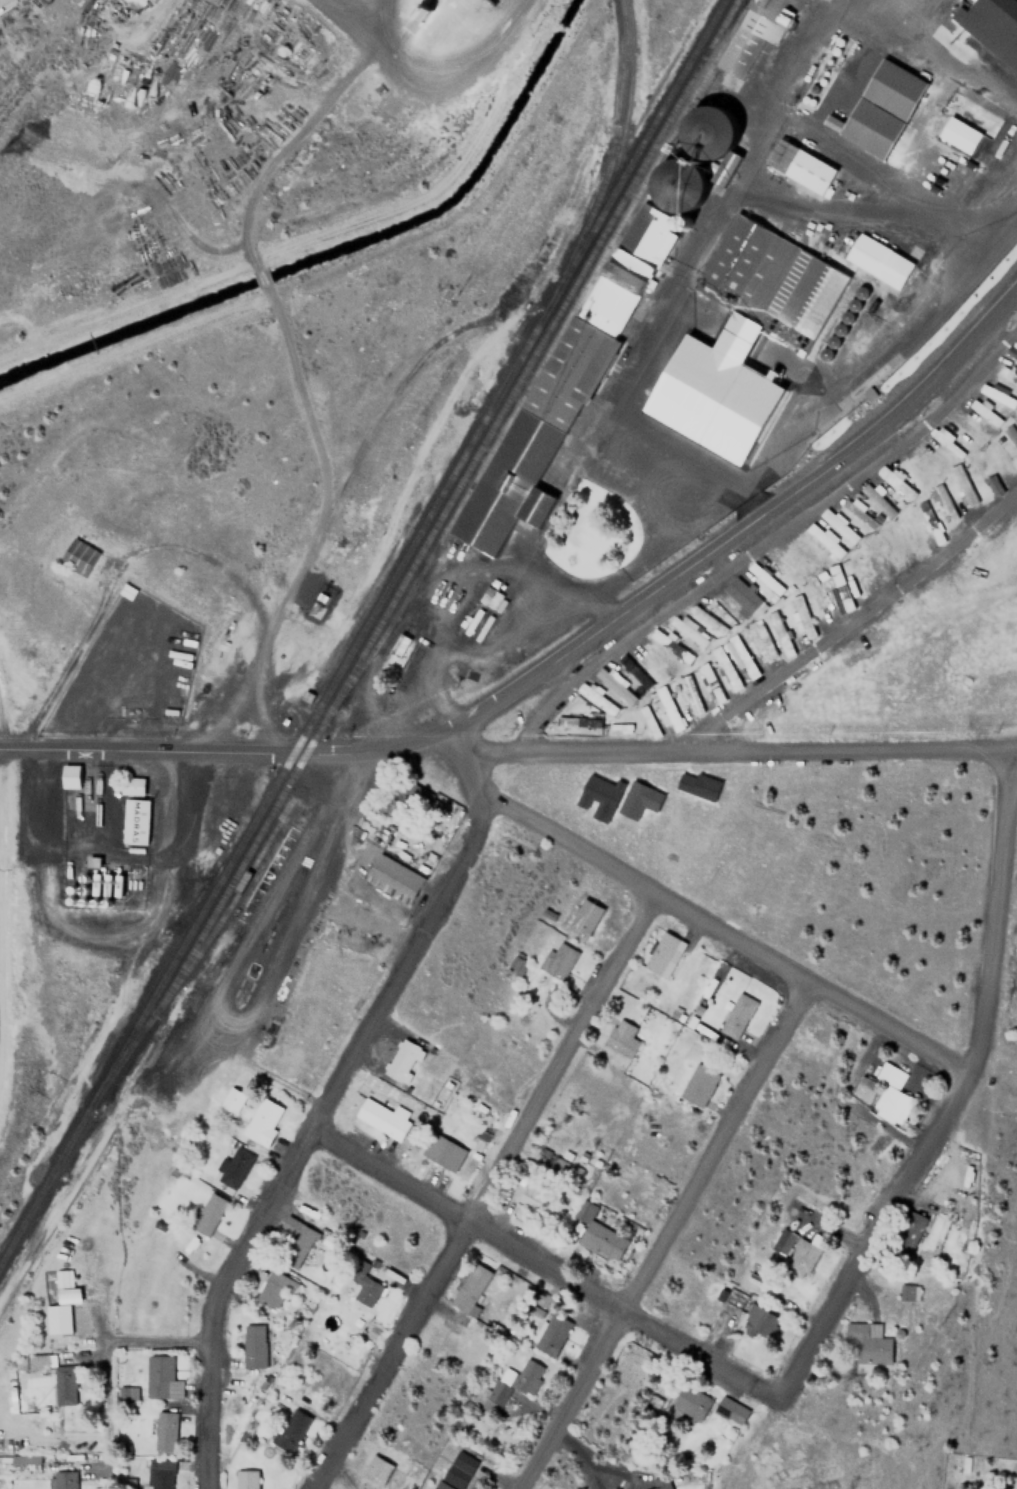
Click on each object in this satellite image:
road: (986, 23)
building: (992, 26)
building: (755, 33)
building: (880, 108)
road: (778, 115)
building: (959, 134)
railway: (607, 157)
building: (800, 165)
road: (867, 216)
railway: (599, 236)
building: (878, 261)
building: (757, 318)
building: (1013, 349)
railway: (540, 358)
building: (579, 358)
building: (1016, 361)
building: (1008, 374)
building: (870, 393)
building: (997, 394)
building: (984, 412)
building: (964, 426)
building: (946, 441)
building: (928, 455)
building: (997, 455)
road: (579, 458)
building: (915, 471)
building: (986, 472)
building: (909, 492)
building: (879, 500)
building: (944, 502)
building: (861, 512)
building: (842, 526)
road: (739, 527)
building: (826, 542)
building: (77, 557)
building: (767, 578)
building: (841, 591)
building: (489, 597)
building: (314, 607)
building: (802, 616)
building: (707, 619)
building: (776, 625)
railway: (360, 631)
building: (759, 640)
building: (398, 645)
building: (670, 645)
building: (653, 660)
building: (724, 668)
building: (633, 671)
building: (710, 682)
building: (615, 683)
building: (689, 694)
building: (597, 697)
building: (668, 709)
railway: (322, 719)
building: (648, 721)
road: (508, 740)
building: (70, 776)
building: (697, 784)
building: (131, 786)
building: (415, 794)
building: (598, 797)
building: (638, 799)
building: (134, 821)
building: (96, 862)
building: (392, 878)
railway: (178, 908)
building: (584, 918)
road: (687, 923)
building: (660, 952)
building: (558, 960)
building: (515, 969)
building: (736, 1015)
building: (621, 1038)
building: (402, 1060)
building: (698, 1085)
building: (231, 1098)
road: (946, 1098)
building: (890, 1104)
building: (381, 1118)
building: (262, 1120)
road: (305, 1131)
building: (442, 1151)
building: (233, 1167)
road: (481, 1194)
building: (532, 1195)
building: (585, 1211)
building: (208, 1213)
road: (657, 1239)
building: (604, 1241)
building: (295, 1243)
building: (797, 1251)
road: (532, 1255)
building: (55, 1282)
building: (470, 1287)
building: (368, 1288)
building: (273, 1289)
building: (906, 1292)
building: (71, 1296)
building: (57, 1318)
building: (757, 1320)
building: (550, 1333)
building: (867, 1343)
building: (252, 1345)
building: (13, 1362)
building: (35, 1362)
building: (528, 1377)
building: (159, 1378)
building: (64, 1384)
building: (696, 1407)
building: (730, 1410)
building: (289, 1429)
building: (163, 1431)
building: (23, 1462)
building: (375, 1470)
building: (458, 1471)
building: (158, 1474)
building: (245, 1479)
building: (63, 1480)
building: (659, 1480)

